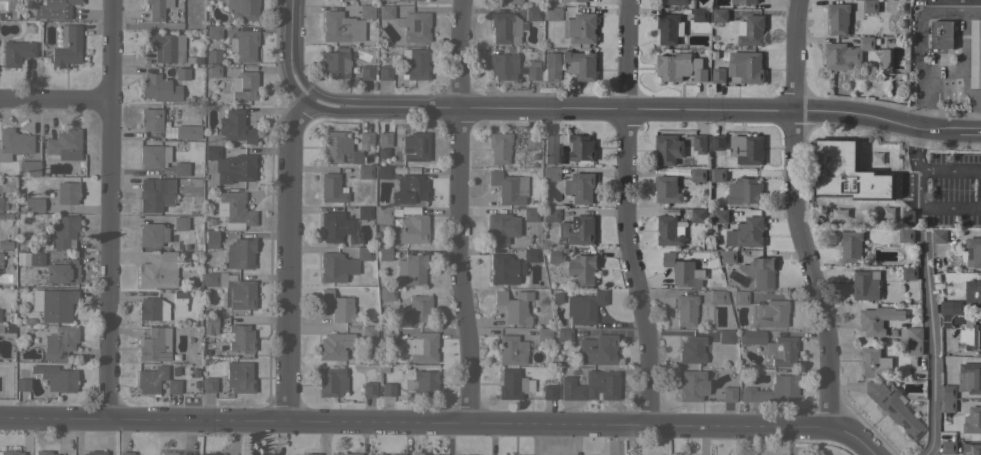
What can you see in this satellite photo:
building: (399, 0)
building: (407, 0)
building: (508, 1)
building: (574, 1)
road: (927, 1)
road: (944, 1)
building: (675, 2)
building: (743, 2)
road: (948, 2)
building: (870, 6)
building: (157, 8)
building: (54, 9)
building: (242, 9)
building: (366, 11)
building: (386, 11)
building: (532, 13)
building: (552, 13)
building: (700, 15)
building: (719, 15)
building: (838, 18)
building: (414, 26)
building: (341, 27)
building: (505, 27)
building: (669, 28)
building: (580, 29)
building: (213, 31)
building: (751, 31)
building: (942, 35)
building: (243, 44)
building: (67, 46)
building: (166, 46)
building: (16, 52)
building: (846, 53)
building: (976, 54)
building: (213, 55)
road: (960, 56)
building: (335, 64)
building: (414, 64)
building: (580, 65)
building: (503, 66)
building: (551, 66)
building: (674, 66)
building: (746, 66)
building: (213, 70)
building: (533, 70)
road: (925, 70)
building: (698, 71)
building: (366, 72)
building: (385, 72)
building: (182, 74)
building: (718, 75)
building: (244, 86)
building: (159, 88)
road: (942, 88)
road: (54, 99)
road: (647, 111)
road: (979, 113)
building: (151, 119)
building: (235, 127)
building: (187, 131)
building: (365, 139)
building: (384, 139)
building: (531, 140)
building: (718, 142)
building: (13, 143)
building: (699, 144)
building: (63, 145)
building: (334, 145)
rooftop solar panel: (425, 145)
building: (415, 146)
building: (499, 147)
building: (583, 149)
building: (668, 149)
building: (747, 149)
road: (915, 150)
rooftop solar panel: (408, 151)
building: (153, 156)
rooftop solar panel: (413, 159)
building: (232, 165)
building: (28, 167)
building: (180, 168)
building: (384, 171)
road: (952, 171)
building: (364, 172)
building: (848, 172)
building: (550, 174)
building: (698, 174)
building: (718, 175)
building: (508, 187)
building: (580, 187)
building: (331, 188)
rooftop solar panel: (422, 188)
building: (409, 190)
building: (667, 190)
building: (744, 191)
building: (67, 192)
building: (155, 194)
rooftop solar panel: (404, 196)
rooftop solar panel: (401, 202)
road: (289, 203)
building: (2, 204)
building: (33, 204)
road: (109, 208)
building: (234, 210)
road: (932, 210)
road: (457, 211)
building: (364, 212)
road: (624, 213)
building: (382, 214)
building: (530, 214)
building: (550, 214)
road: (793, 214)
building: (6, 216)
building: (698, 216)
building: (720, 216)
building: (180, 223)
building: (335, 226)
building: (500, 227)
building: (410, 230)
building: (577, 230)
building: (670, 231)
building: (64, 232)
building: (747, 233)
building: (152, 234)
building: (906, 236)
building: (939, 236)
building: (211, 238)
building: (5, 245)
building: (850, 246)
building: (975, 250)
building: (240, 253)
building: (363, 253)
building: (384, 253)
building: (530, 255)
building: (728, 256)
building: (0, 258)
building: (34, 258)
building: (332, 267)
building: (576, 267)
building: (412, 268)
building: (503, 269)
building: (158, 270)
building: (682, 271)
building: (62, 272)
building: (760, 272)
building: (909, 273)
building: (209, 279)
building: (866, 285)
building: (386, 292)
building: (240, 293)
building: (973, 294)
building: (716, 297)
building: (740, 297)
building: (179, 301)
building: (53, 304)
building: (338, 306)
building: (513, 306)
building: (584, 307)
building: (152, 309)
building: (418, 309)
building: (685, 309)
building: (770, 314)
building: (948, 315)
building: (878, 320)
building: (209, 323)
building: (369, 332)
building: (388, 333)
building: (543, 334)
building: (564, 335)
building: (914, 335)
building: (971, 335)
building: (725, 336)
building: (240, 337)
building: (59, 343)
road: (929, 344)
building: (155, 345)
building: (334, 345)
building: (772, 346)
building: (421, 347)
building: (914, 348)
building: (511, 350)
building: (596, 350)
building: (691, 350)
building: (874, 363)
building: (56, 377)
building: (239, 377)
building: (970, 378)
building: (151, 379)
building: (331, 381)
building: (425, 382)
building: (22, 384)
building: (208, 384)
building: (513, 384)
building: (692, 385)
building: (173, 386)
building: (591, 386)
building: (549, 388)
building: (369, 389)
building: (387, 389)
building: (873, 389)
building: (772, 390)
building: (728, 393)
building: (948, 399)
building: (898, 413)
road: (439, 421)
building: (972, 421)
building: (948, 448)
building: (971, 449)
building: (10, 452)
building: (43, 452)
building: (94, 453)
building: (125, 453)
building: (169, 453)
building: (269, 453)
building: (345, 453)
building: (209, 454)
building: (301, 454)
building: (379, 454)
building: (396, 454)
building: (437, 454)

